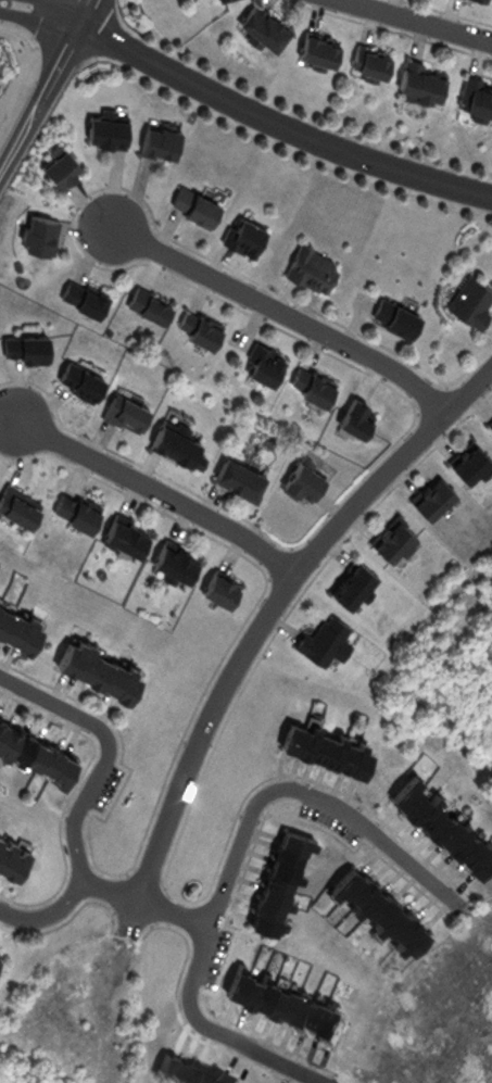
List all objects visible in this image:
building: (483, 0)
road: (64, 11)
road: (39, 17)
road: (422, 20)
building: (262, 24)
building: (317, 47)
building: (371, 62)
building: (420, 78)
road: (45, 83)
building: (478, 98)
road: (279, 122)
building: (105, 129)
building: (159, 139)
building: (61, 166)
building: (193, 204)
building: (39, 234)
building: (244, 235)
building: (311, 266)
building: (83, 295)
building: (470, 299)
building: (148, 303)
road: (286, 312)
building: (394, 314)
building: (202, 329)
building: (24, 345)
building: (264, 364)
building: (78, 380)
building: (316, 387)
building: (124, 411)
building: (356, 416)
building: (491, 426)
building: (176, 445)
building: (470, 464)
building: (238, 475)
building: (301, 479)
road: (160, 491)
building: (433, 498)
building: (17, 501)
building: (75, 507)
building: (124, 533)
building: (394, 540)
building: (173, 557)
building: (354, 582)
building: (219, 584)
building: (16, 617)
road: (263, 621)
building: (325, 639)
building: (92, 659)
building: (323, 741)
building: (35, 748)
road: (85, 793)
building: (441, 819)
building: (11, 855)
road: (232, 865)
building: (279, 879)
road: (110, 887)
building: (380, 909)
road: (175, 911)
building: (282, 1002)

